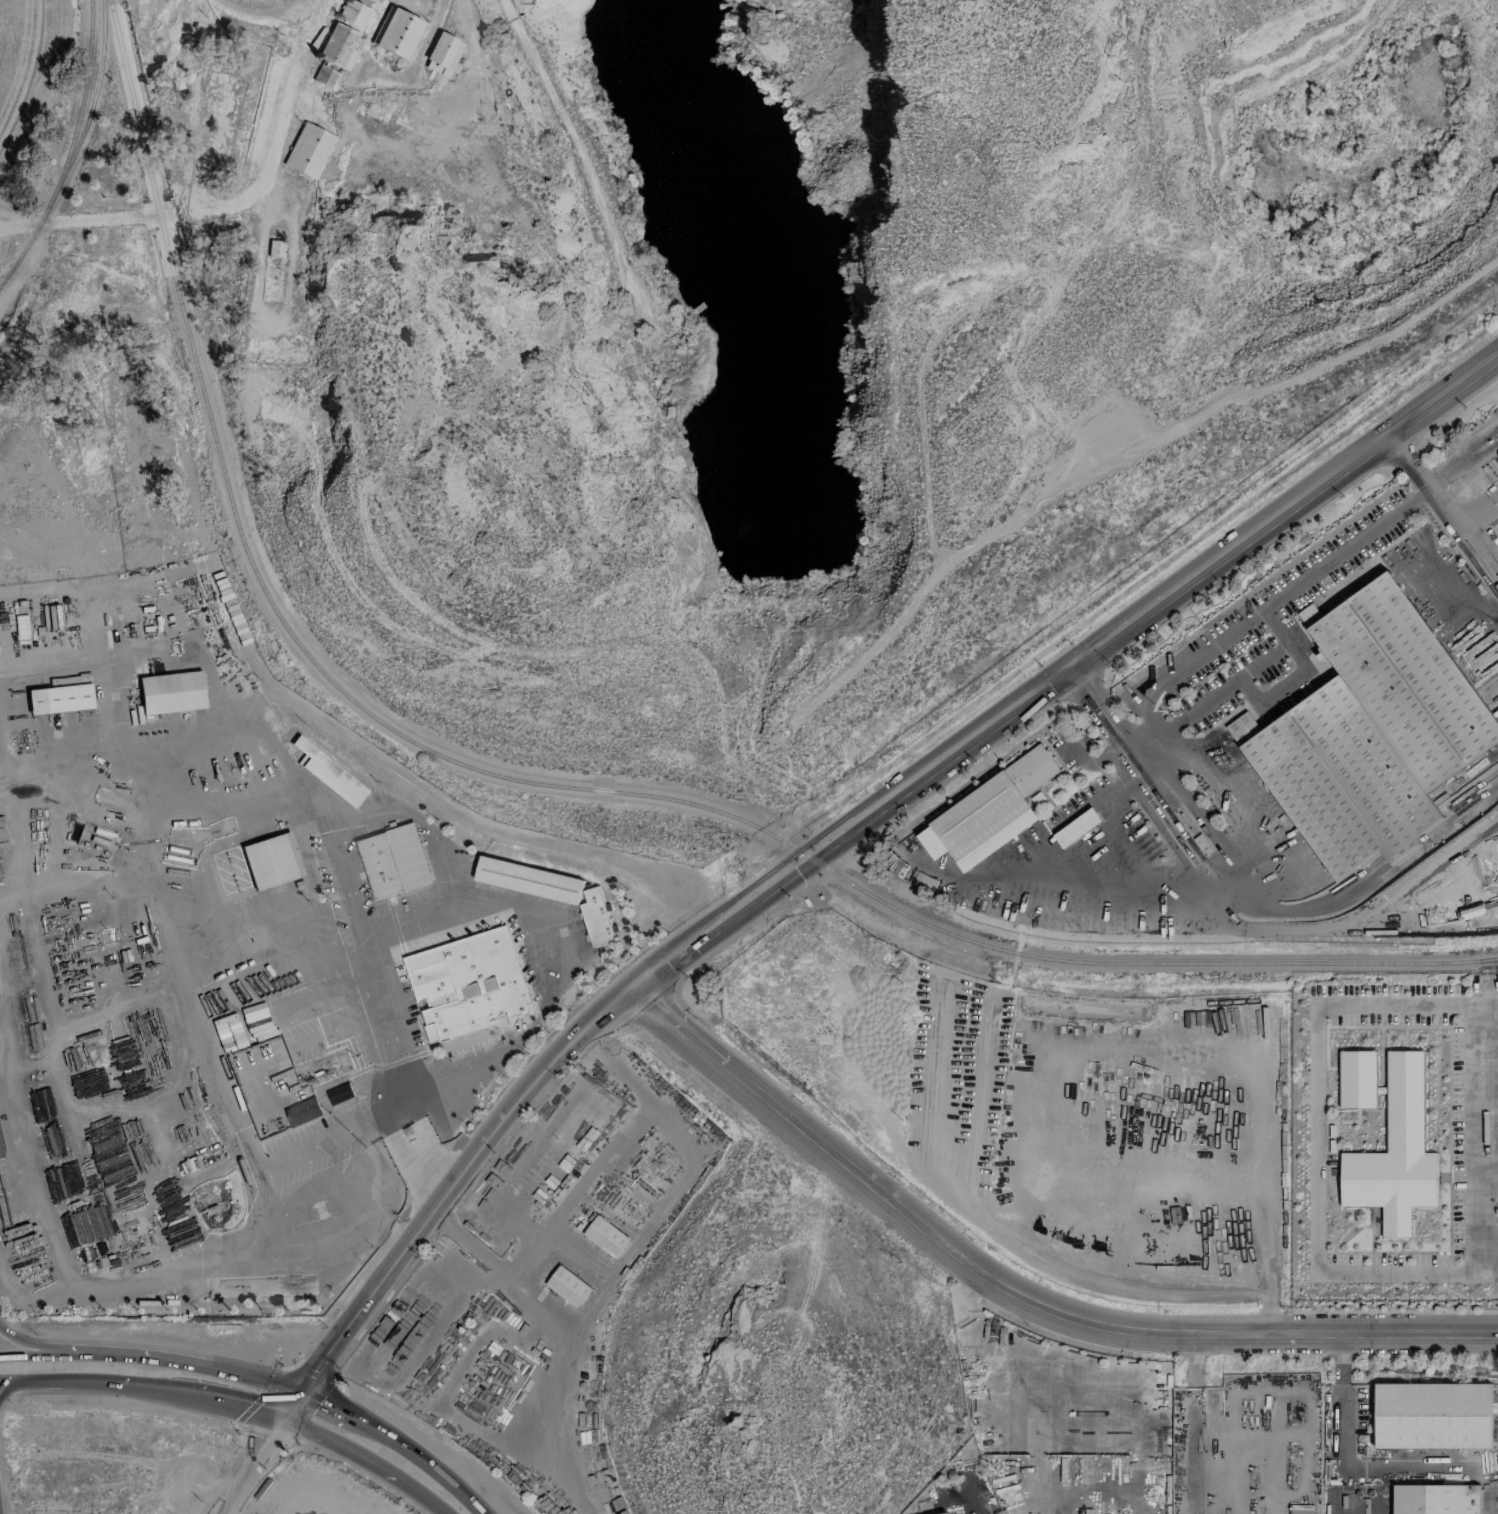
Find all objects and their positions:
road: (265, 8)
building: (353, 13)
building: (396, 32)
building: (443, 53)
building: (334, 55)
road: (25, 69)
building: (269, 81)
railway: (83, 87)
railway: (88, 116)
building: (308, 151)
road: (223, 197)
building: (275, 248)
railway: (13, 264)
quarry: (864, 313)
road: (1332, 474)
road: (1436, 502)
road: (1486, 540)
road: (1117, 632)
road: (1198, 663)
building: (171, 692)
building: (61, 695)
road: (219, 698)
building: (1370, 731)
road: (117, 760)
building: (329, 773)
railway: (555, 786)
road: (2, 787)
building: (989, 813)
road: (136, 815)
building: (1077, 828)
building: (271, 860)
building: (394, 861)
building: (528, 879)
road: (1134, 890)
road: (177, 906)
building: (595, 917)
road: (1351, 922)
road: (355, 931)
road: (558, 934)
railway: (1488, 960)
building: (467, 985)
road: (625, 993)
building: (1357, 1078)
building: (339, 1094)
building: (302, 1112)
road: (1475, 1134)
road: (1316, 1141)
building: (1395, 1153)
road: (1486, 1165)
building: (606, 1236)
road: (1260, 1265)
building: (568, 1285)
road: (967, 1294)
road: (1013, 1294)
road: (37, 1345)
road: (148, 1359)
road: (142, 1384)
road: (1041, 1398)
road: (319, 1404)
building: (1433, 1416)
road: (418, 1458)
road: (366, 1459)
road: (1192, 1462)
road: (250, 1465)
road: (1345, 1465)
landfill: (318, 1490)
building: (1436, 1499)
road: (970, 1511)
building: (1299, 1511)
building: (946, 1513)

